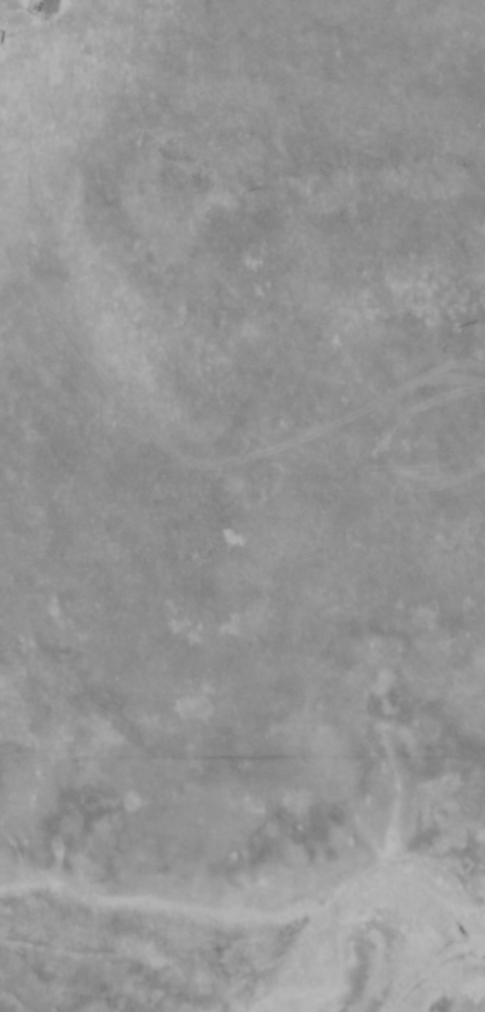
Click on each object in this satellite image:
building: (0, 17)
road: (245, 976)

